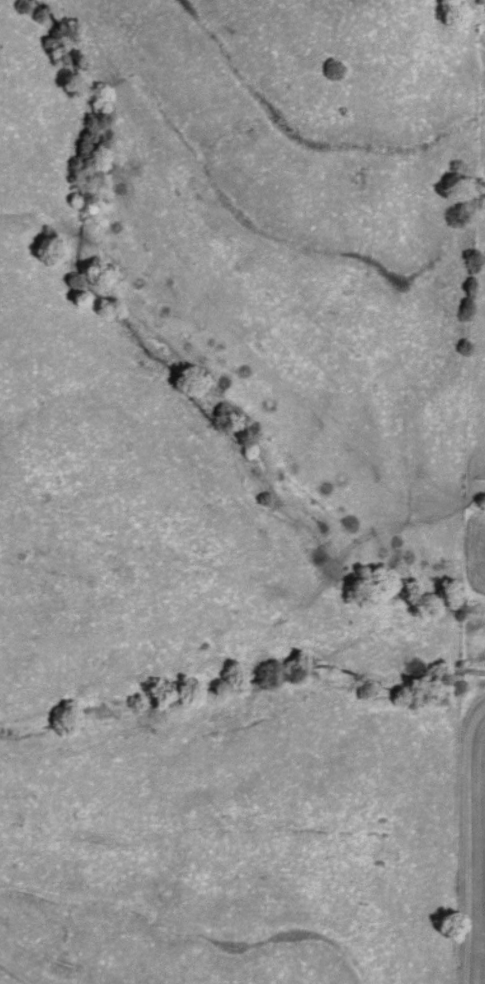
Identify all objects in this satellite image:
road: (462, 835)

